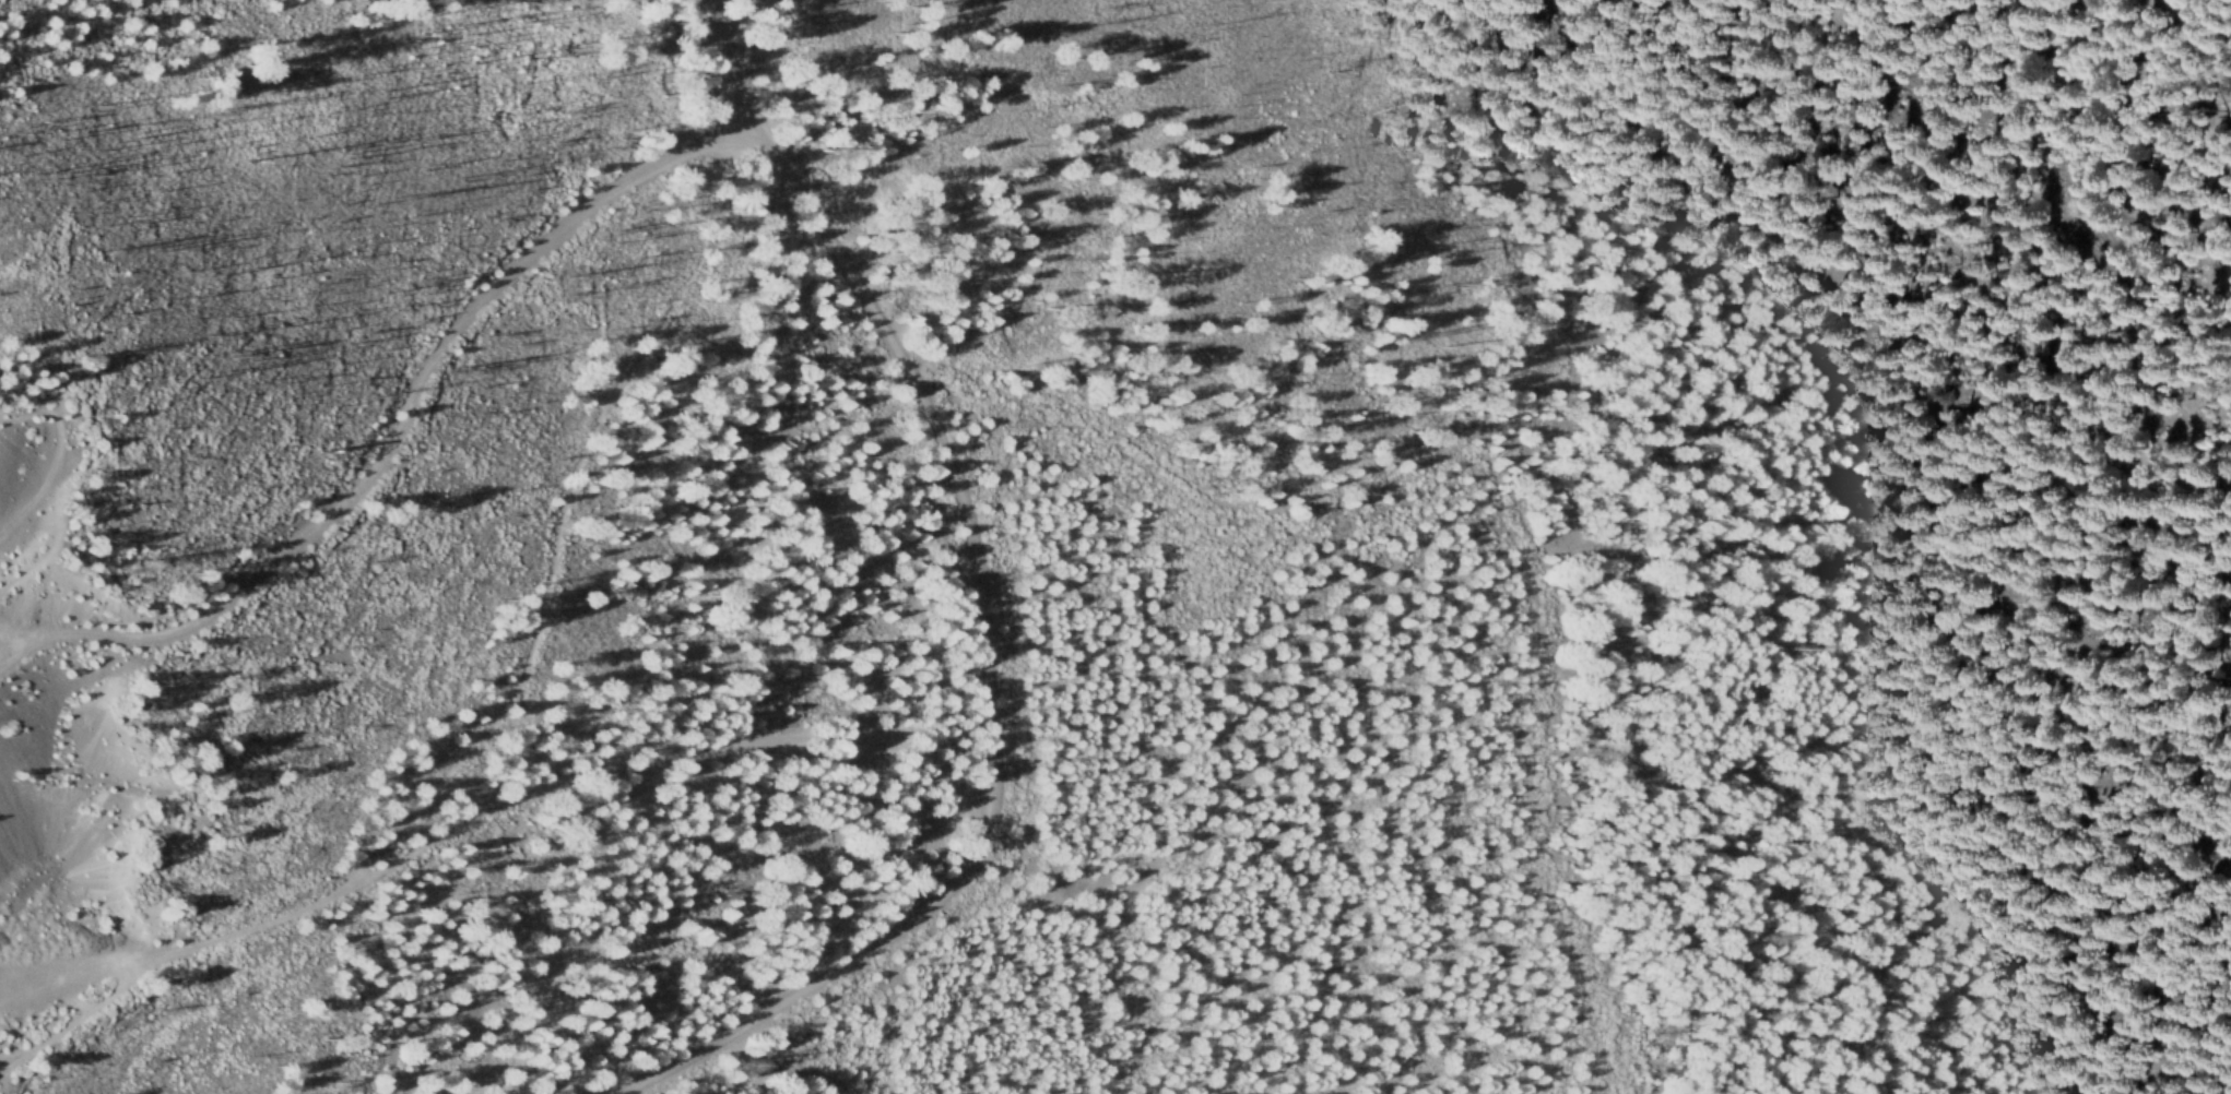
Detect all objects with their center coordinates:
road: (397, 425)
road: (977, 611)
road: (477, 819)

